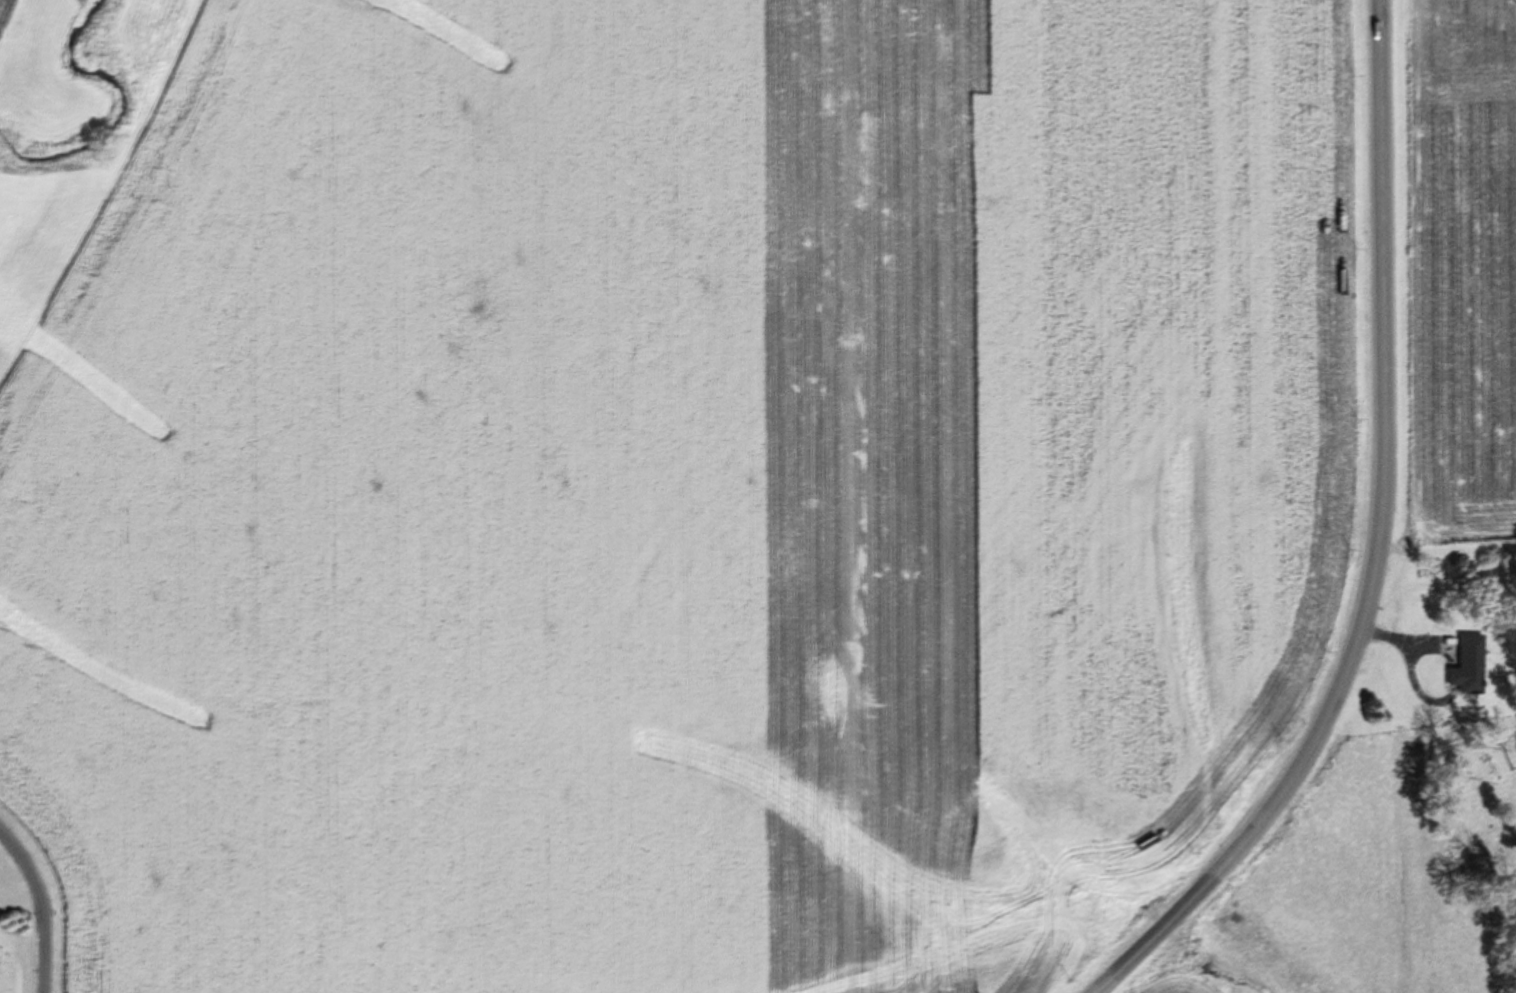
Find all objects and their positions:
road: (1377, 543)
building: (1469, 666)
road: (43, 905)

